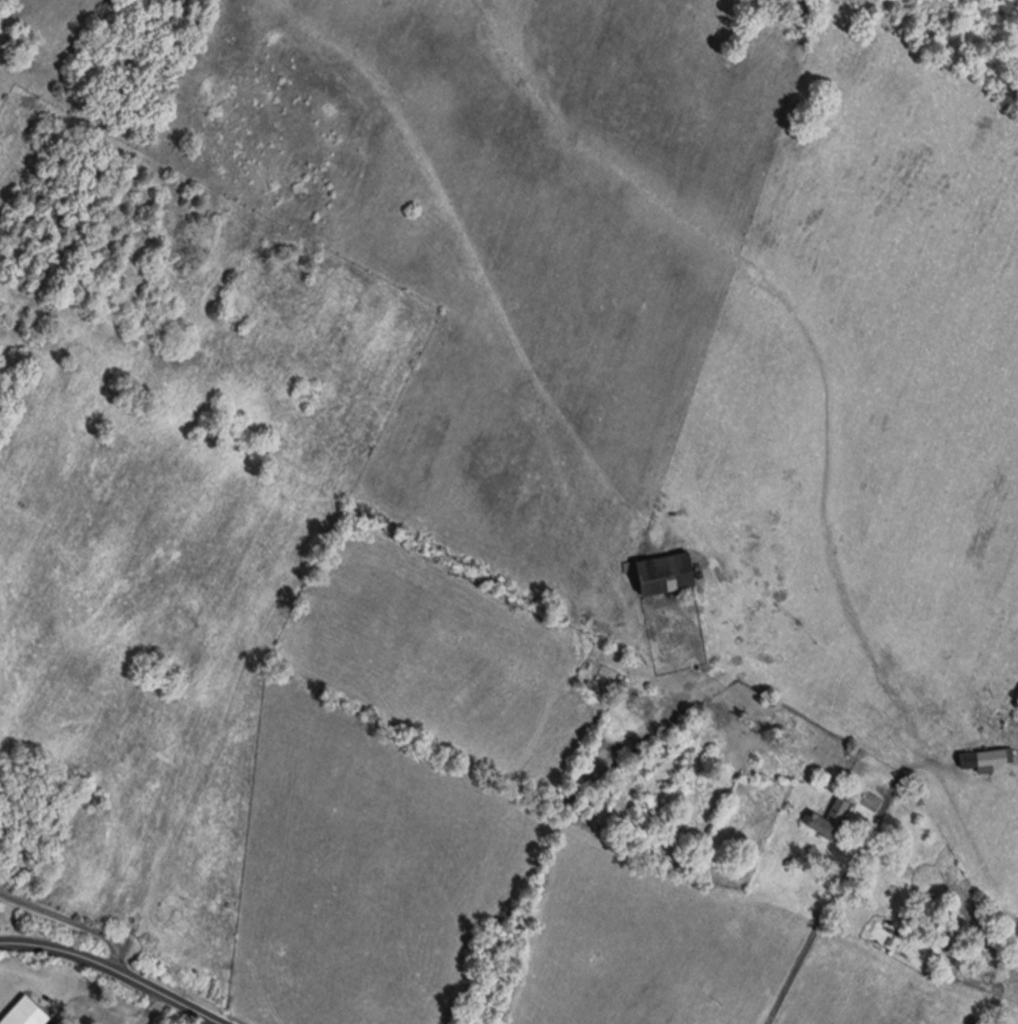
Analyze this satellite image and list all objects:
road: (10, 346)
road: (214, 650)
road: (69, 920)
road: (822, 923)
road: (116, 968)

